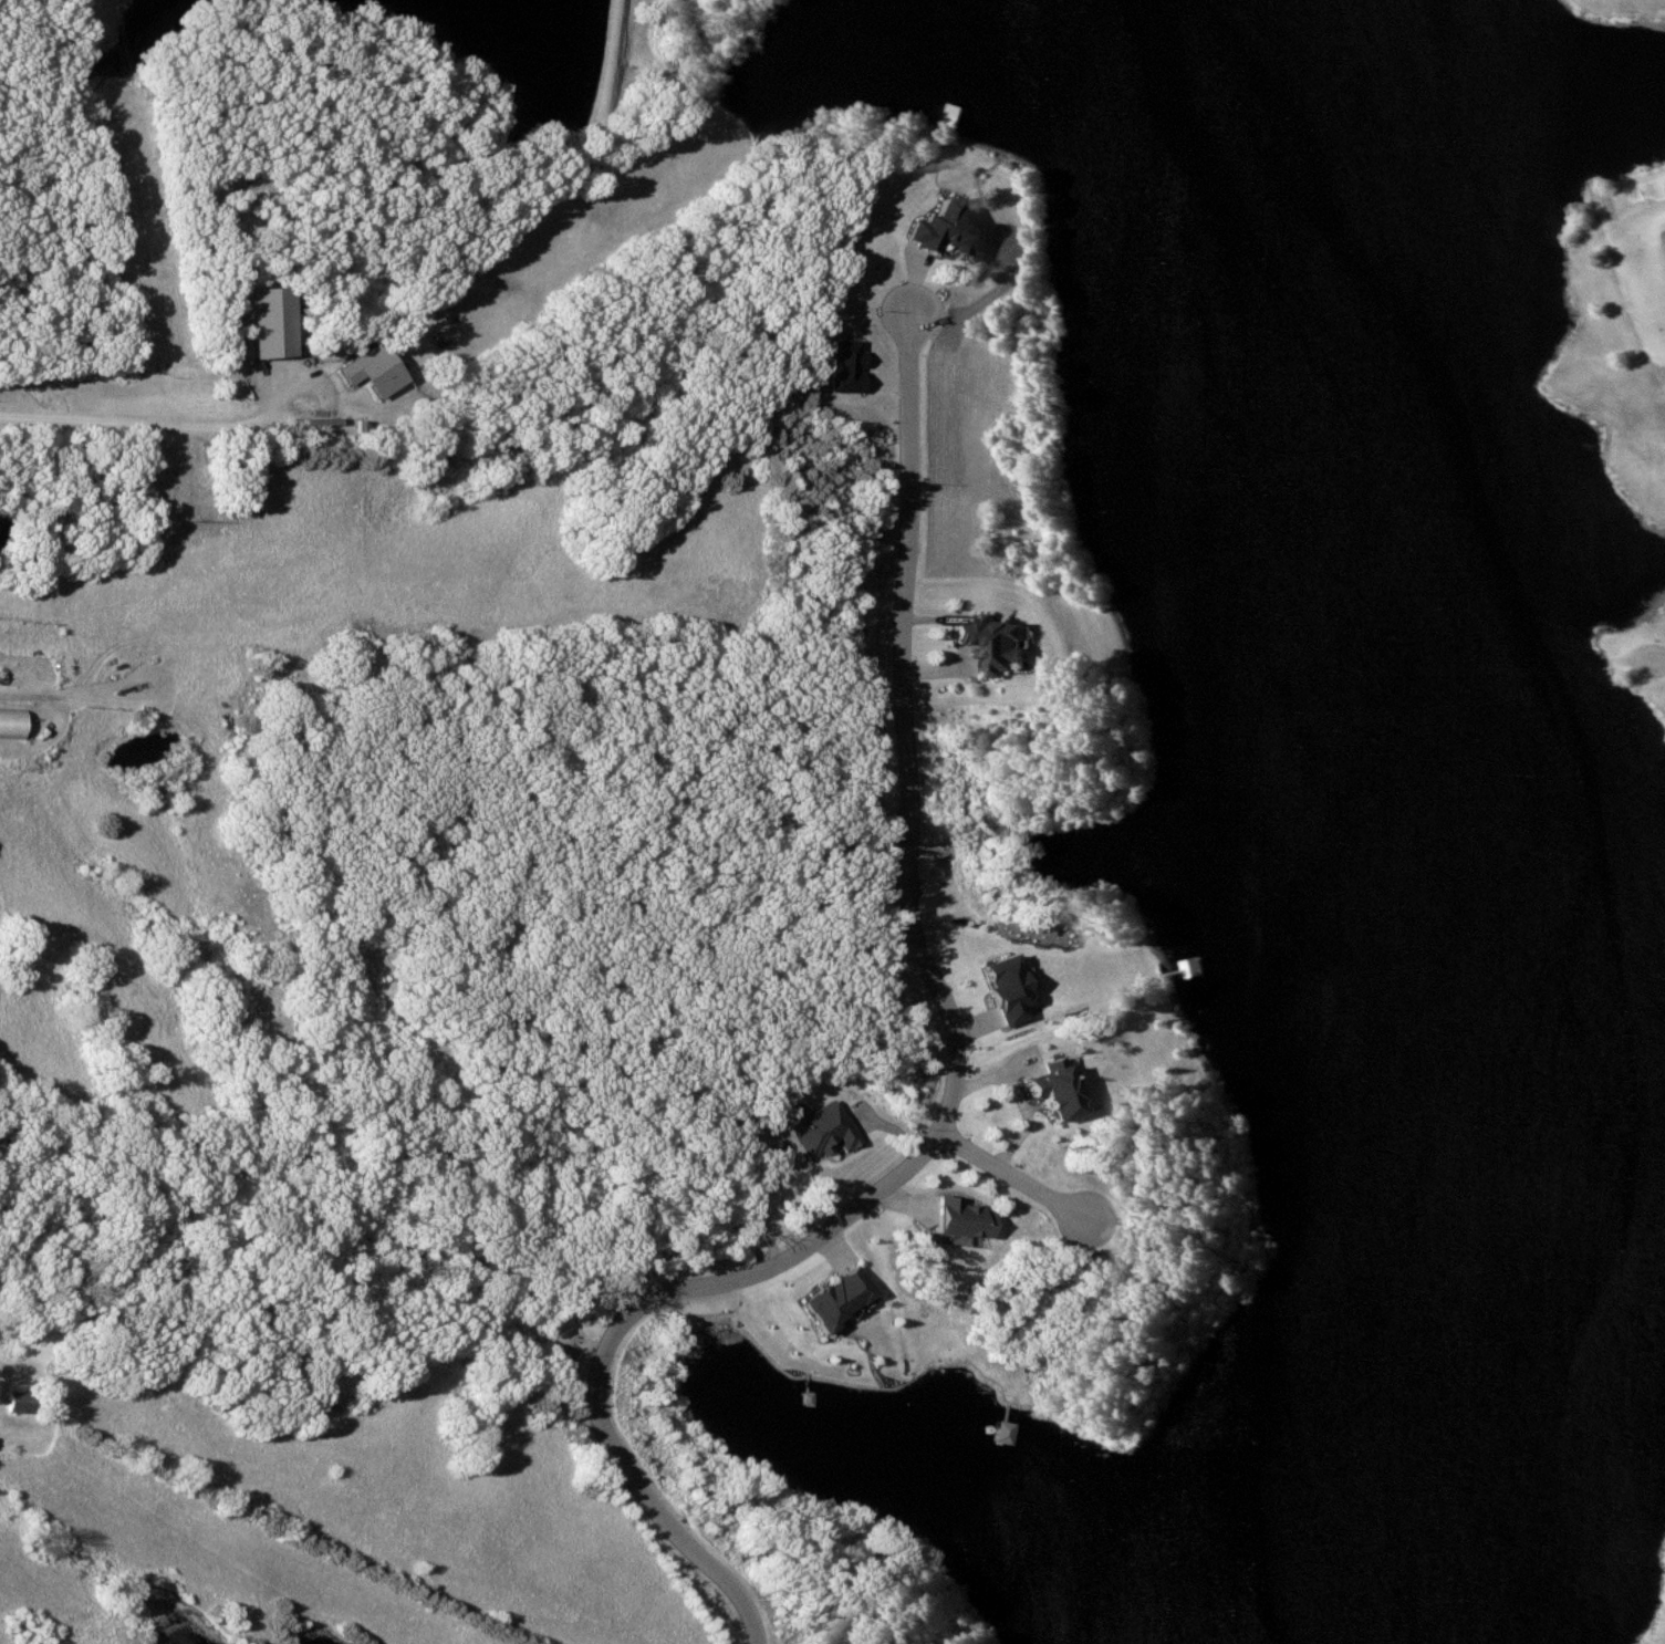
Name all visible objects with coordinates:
road: (1637, 225)
building: (939, 230)
building: (366, 371)
road: (282, 398)
road: (132, 422)
building: (977, 643)
road: (1653, 654)
building: (9, 722)
park: (832, 822)
building: (1047, 1090)
road: (951, 1099)
road: (1010, 1176)
building: (955, 1218)
road: (1659, 1638)

